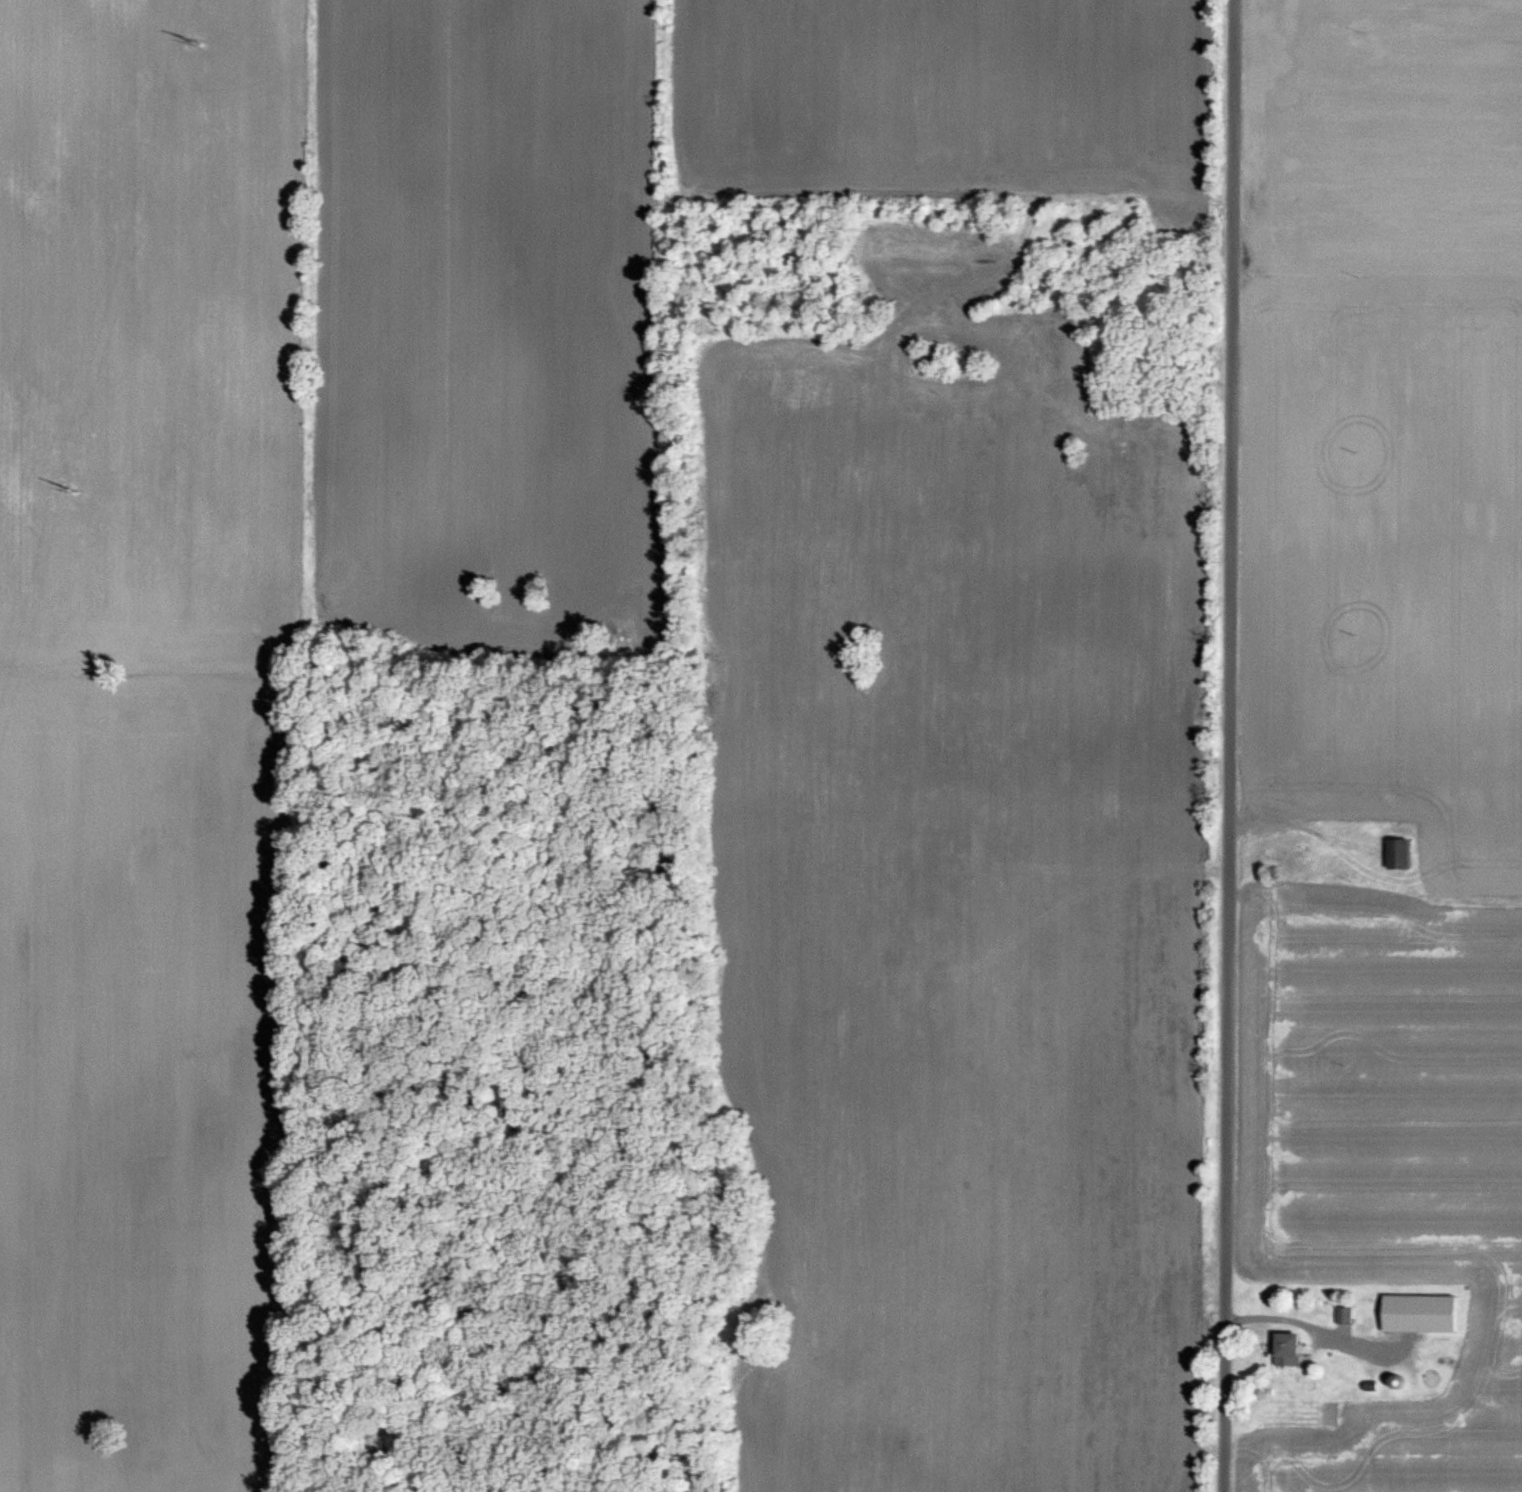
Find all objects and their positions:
power tower: (192, 40)
power tower: (70, 490)
road: (1223, 746)
building: (1396, 856)
building: (1418, 1316)
building: (1284, 1353)

